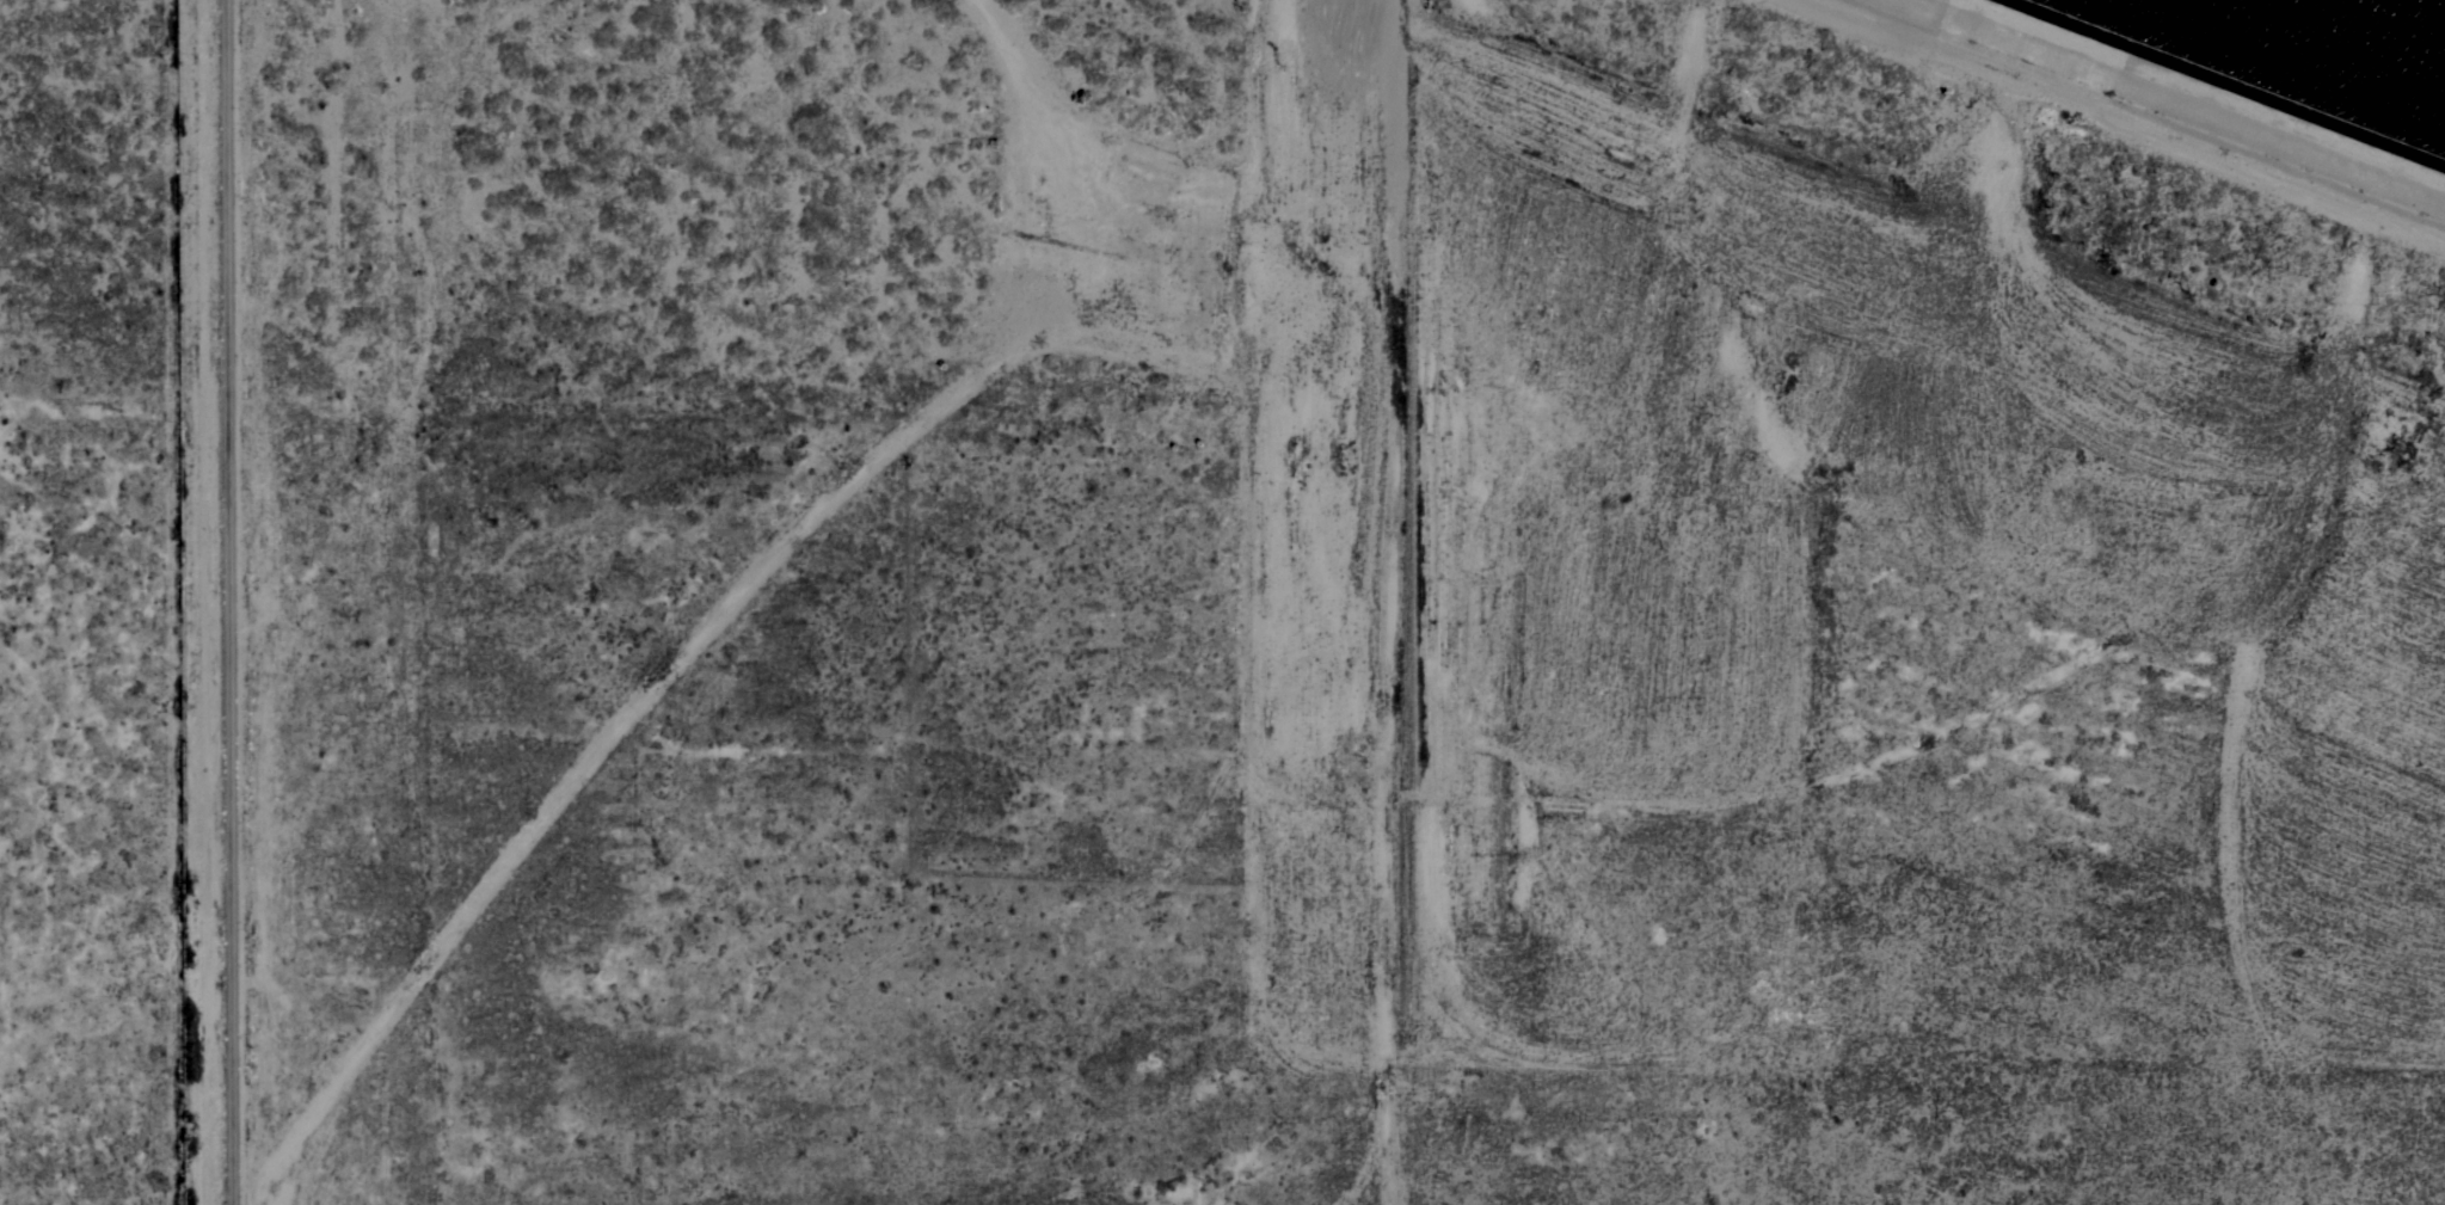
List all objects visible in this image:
wastewater plant: (2271, 66)
road: (236, 602)

